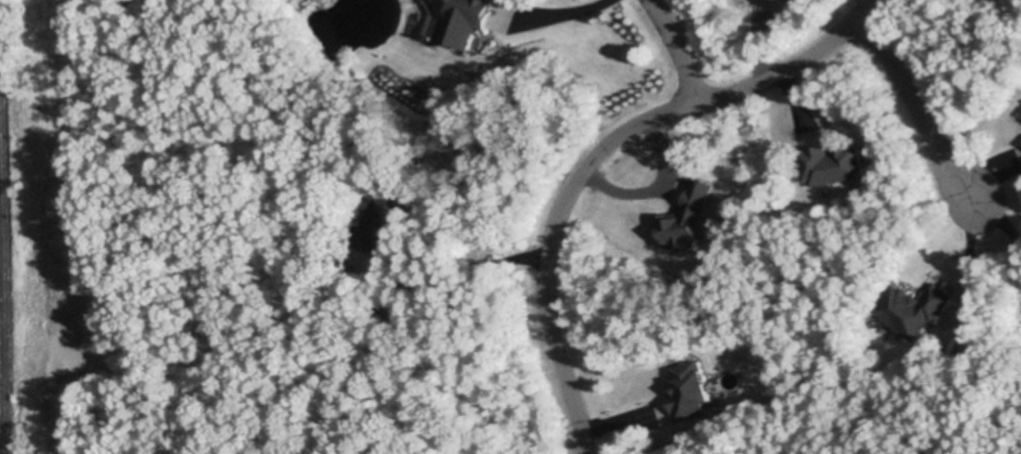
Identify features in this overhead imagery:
building: (807, 2)
road: (570, 14)
building: (465, 20)
road: (676, 50)
road: (920, 112)
road: (600, 152)
building: (830, 163)
building: (690, 219)
building: (380, 224)
power tower: (58, 225)
road: (1006, 229)
railway: (5, 264)
road: (989, 265)
road: (459, 284)
building: (914, 308)
building: (393, 309)
building: (690, 389)

